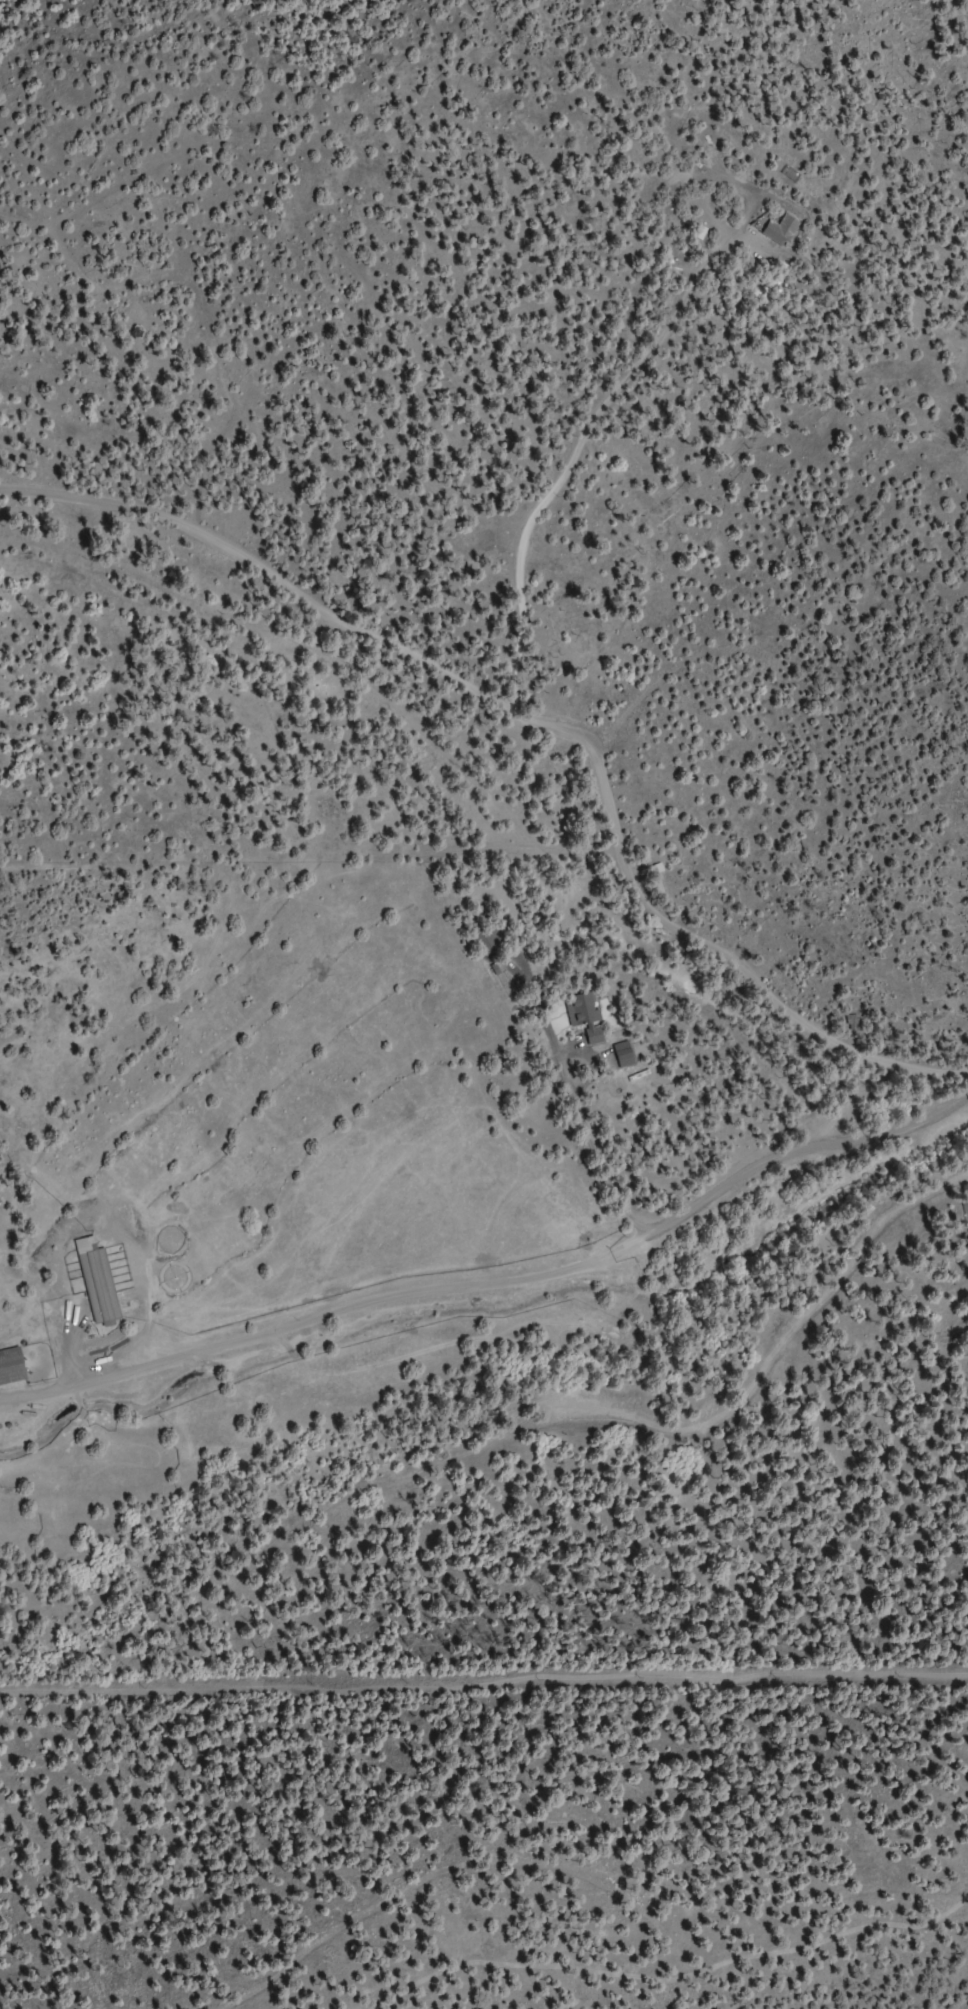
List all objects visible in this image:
building: (781, 231)
road: (476, 734)
building: (491, 940)
building: (584, 1016)
road: (487, 1255)
building: (98, 1283)
building: (11, 1367)
road: (832, 1718)

